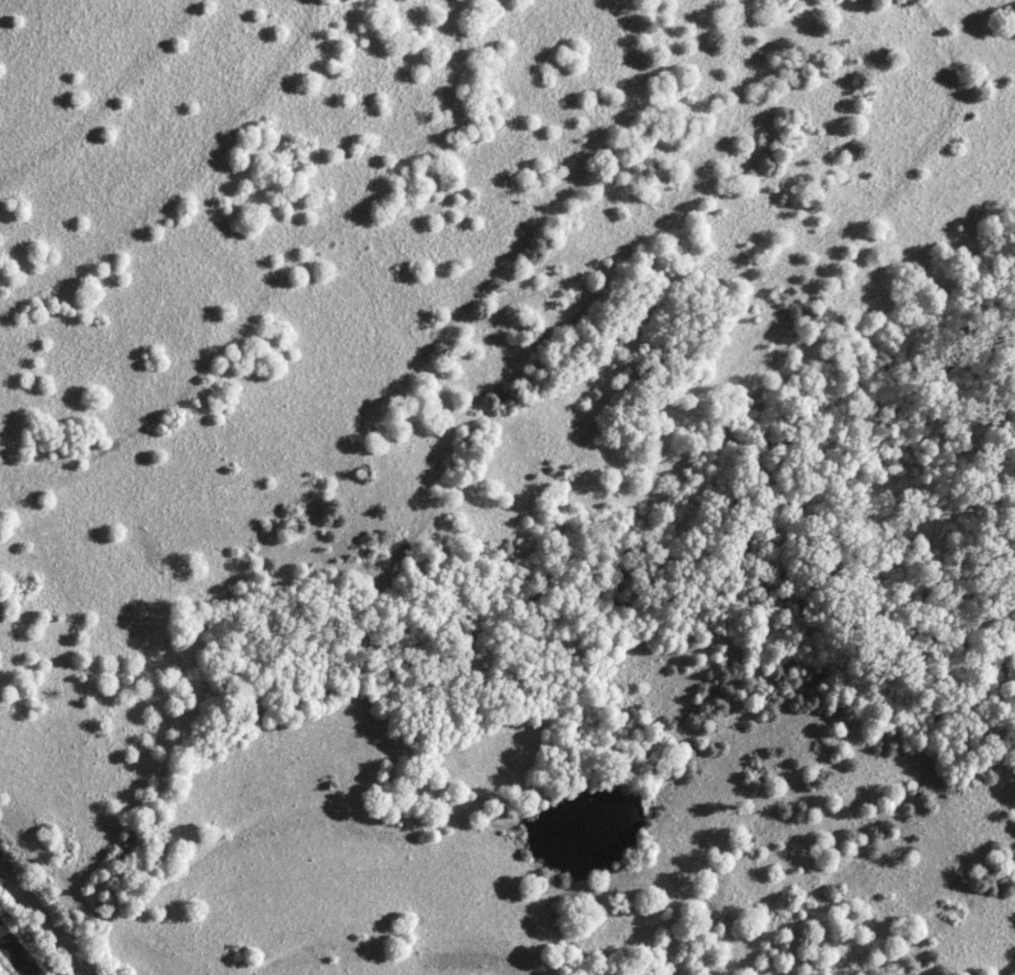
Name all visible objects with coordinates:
road: (44, 921)
railway: (15, 956)
crop: (3, 970)

